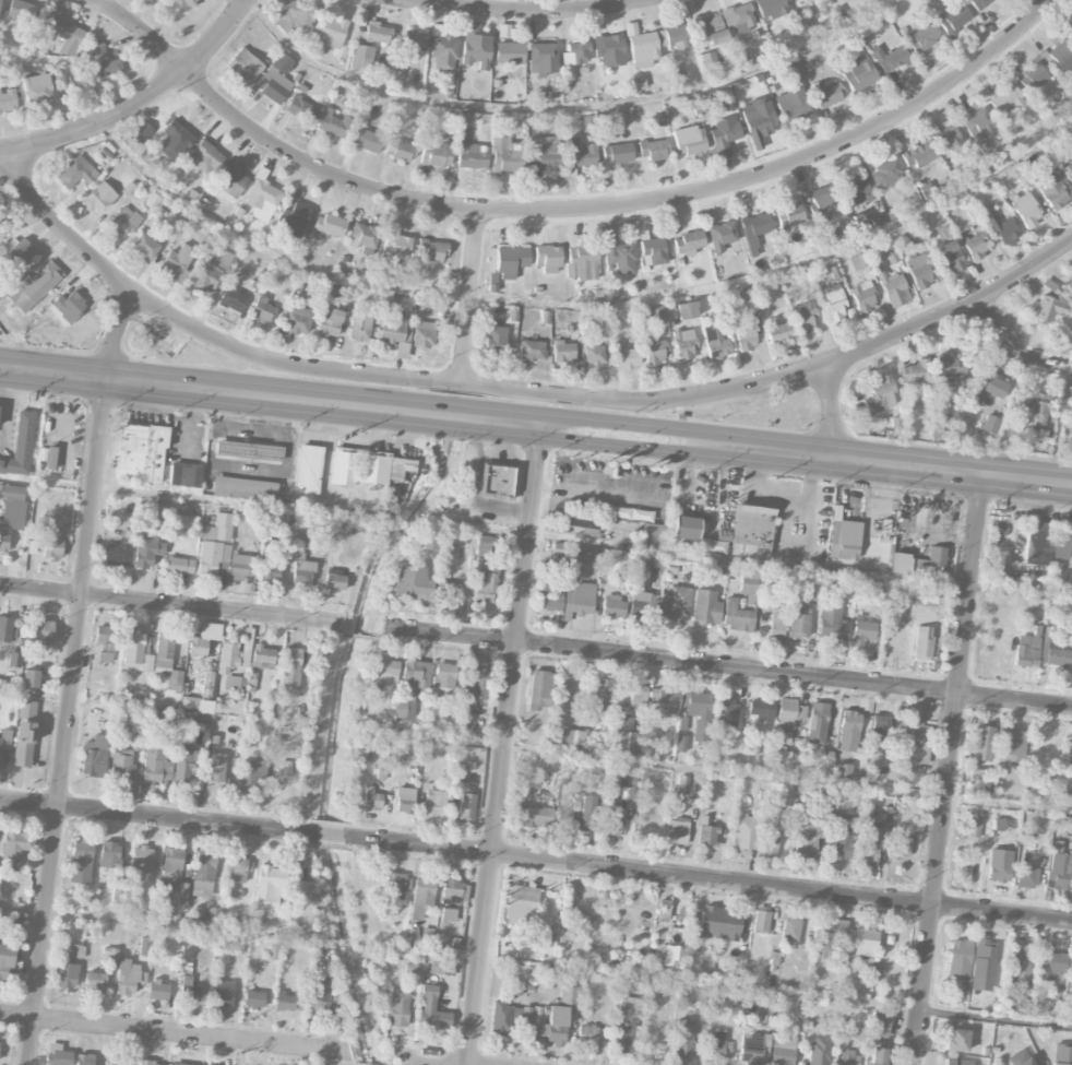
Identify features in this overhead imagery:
building: (871, 0)
building: (183, 3)
building: (979, 3)
building: (771, 9)
building: (20, 11)
road: (523, 11)
building: (295, 15)
building: (741, 17)
building: (954, 19)
building: (631, 28)
building: (713, 28)
building: (372, 32)
building: (63, 33)
building: (1071, 33)
building: (329, 34)
building: (675, 36)
building: (922, 37)
building: (475, 46)
building: (442, 49)
building: (643, 49)
building: (609, 50)
building: (509, 52)
building: (575, 54)
building: (361, 57)
building: (1060, 57)
building: (543, 58)
building: (890, 58)
building: (103, 62)
building: (710, 62)
building: (245, 66)
building: (859, 73)
building: (1032, 78)
building: (276, 79)
building: (37, 88)
building: (827, 95)
building: (1007, 100)
building: (8, 102)
road: (140, 103)
building: (793, 104)
road: (563, 107)
building: (302, 108)
building: (759, 120)
building: (333, 123)
building: (980, 123)
building: (141, 133)
building: (724, 135)
building: (366, 138)
building: (175, 141)
building: (689, 141)
building: (949, 141)
building: (400, 150)
building: (546, 150)
building: (654, 150)
building: (580, 153)
building: (617, 153)
building: (105, 154)
building: (437, 155)
building: (508, 155)
building: (918, 155)
building: (473, 156)
building: (204, 157)
building: (76, 171)
building: (884, 173)
building: (1068, 173)
building: (231, 180)
building: (855, 189)
building: (1055, 189)
building: (928, 190)
building: (98, 198)
building: (262, 199)
building: (824, 201)
building: (1026, 210)
road: (570, 211)
building: (790, 213)
building: (291, 218)
building: (122, 222)
building: (329, 225)
building: (3, 227)
building: (755, 228)
building: (1002, 228)
building: (833, 233)
building: (364, 236)
building: (720, 236)
building: (914, 237)
building: (689, 242)
building: (396, 245)
building: (145, 246)
building: (975, 246)
building: (432, 250)
building: (654, 250)
building: (948, 251)
building: (20, 252)
building: (619, 256)
building: (547, 259)
building: (510, 261)
building: (858, 261)
building: (582, 262)
building: (178, 264)
building: (919, 271)
building: (206, 276)
building: (33, 287)
building: (894, 289)
building: (329, 293)
building: (862, 296)
road: (472, 297)
building: (231, 298)
road: (514, 301)
building: (834, 304)
building: (1050, 304)
building: (69, 306)
building: (262, 310)
building: (686, 310)
building: (655, 313)
building: (805, 318)
building: (298, 320)
building: (329, 322)
building: (360, 324)
building: (777, 331)
building: (746, 333)
road: (117, 334)
building: (424, 334)
building: (396, 336)
building: (495, 339)
building: (715, 341)
road: (11, 342)
building: (684, 344)
building: (532, 350)
road: (1013, 350)
building: (562, 351)
building: (655, 352)
building: (593, 354)
building: (627, 358)
road: (1067, 358)
building: (952, 368)
building: (915, 376)
building: (988, 388)
road: (514, 391)
building: (880, 394)
road: (5, 404)
building: (1032, 406)
building: (1070, 409)
road: (833, 412)
road: (536, 424)
building: (990, 424)
building: (20, 446)
building: (248, 450)
building: (140, 453)
road: (63, 461)
building: (51, 464)
building: (344, 466)
building: (373, 468)
building: (397, 468)
building: (308, 469)
building: (184, 475)
building: (497, 481)
road: (569, 484)
building: (245, 489)
road: (469, 489)
road: (193, 498)
building: (11, 512)
building: (629, 513)
building: (183, 521)
building: (582, 523)
building: (683, 528)
building: (218, 529)
building: (751, 531)
building: (653, 534)
building: (1063, 534)
building: (430, 541)
building: (845, 541)
building: (716, 543)
building: (1038, 544)
building: (487, 546)
building: (51, 548)
building: (132, 551)
building: (582, 555)
building: (936, 557)
building: (213, 558)
building: (651, 563)
road: (755, 563)
building: (179, 566)
building: (238, 567)
building: (271, 568)
building: (302, 573)
building: (334, 581)
building: (412, 581)
building: (748, 582)
building: (485, 584)
building: (452, 589)
building: (812, 592)
building: (551, 594)
building: (579, 600)
building: (676, 603)
road: (168, 604)
building: (643, 604)
building: (614, 606)
building: (705, 607)
building: (737, 616)
building: (832, 622)
building: (799, 624)
building: (776, 627)
building: (5, 629)
building: (44, 631)
building: (862, 632)
building: (105, 635)
building: (204, 639)
building: (922, 642)
building: (1027, 649)
building: (136, 652)
building: (105, 656)
building: (227, 658)
building: (263, 658)
building: (1058, 658)
building: (14, 660)
building: (167, 662)
road: (724, 667)
building: (290, 668)
building: (384, 673)
building: (29, 678)
building: (443, 679)
building: (235, 683)
building: (207, 684)
building: (477, 685)
building: (413, 687)
building: (540, 689)
road: (35, 695)
building: (600, 695)
building: (638, 696)
road: (71, 698)
building: (189, 702)
building: (668, 702)
building: (204, 707)
building: (761, 709)
building: (789, 713)
building: (93, 722)
building: (817, 723)
building: (848, 731)
building: (24, 734)
building: (681, 734)
building: (879, 734)
building: (573, 736)
building: (783, 737)
building: (4, 739)
building: (136, 739)
building: (915, 742)
building: (624, 743)
building: (982, 743)
road: (503, 744)
building: (1011, 746)
building: (1043, 748)
building: (94, 756)
building: (156, 762)
building: (121, 764)
building: (184, 766)
building: (551, 766)
building: (283, 768)
road: (951, 770)
building: (843, 771)
road: (713, 774)
building: (216, 776)
building: (249, 776)
building: (456, 776)
building: (682, 784)
building: (371, 798)
building: (404, 800)
building: (436, 803)
building: (466, 806)
building: (584, 814)
road: (153, 816)
building: (532, 816)
building: (973, 824)
building: (611, 825)
building: (677, 831)
building: (747, 832)
road: (327, 833)
building: (707, 836)
building: (770, 839)
building: (805, 839)
building: (29, 841)
building: (868, 845)
building: (901, 847)
building: (13, 848)
building: (842, 848)
building: (109, 854)
building: (81, 861)
building: (141, 865)
building: (999, 865)
building: (236, 869)
building: (1061, 872)
building: (203, 874)
building: (1027, 877)
road: (710, 879)
building: (270, 888)
building: (305, 889)
building: (393, 891)
building: (454, 891)
building: (182, 894)
building: (422, 897)
building: (521, 904)
building: (666, 911)
building: (446, 914)
building: (211, 915)
building: (761, 919)
road: (163, 923)
building: (718, 923)
building: (790, 930)
building: (845, 940)
building: (147, 946)
building: (76, 951)
building: (670, 956)
building: (960, 959)
building: (1019, 959)
building: (5, 960)
building: (982, 963)
building: (442, 967)
building: (1050, 967)
building: (1071, 968)
building: (65, 975)
building: (127, 978)
road: (643, 980)
building: (94, 982)
building: (189, 990)
building: (158, 991)
building: (222, 997)
building: (253, 999)
building: (1012, 1001)
building: (284, 1002)
building: (318, 1002)
building: (628, 1005)
building: (397, 1008)
building: (431, 1008)
road: (16, 1015)
building: (556, 1016)
building: (508, 1017)
road: (998, 1019)
building: (878, 1023)
road: (191, 1033)
building: (591, 1036)
building: (621, 1038)
building: (956, 1040)
road: (31, 1041)
building: (683, 1041)
building: (720, 1046)
building: (754, 1049)
building: (783, 1051)
building: (819, 1051)
building: (57, 1055)
building: (1062, 1055)
building: (877, 1056)
building: (847, 1057)
building: (85, 1060)
road: (442, 1060)
building: (956, 1062)
building: (1024, 1062)
building: (118, 1063)
building: (152, 1063)
building: (179, 1064)

